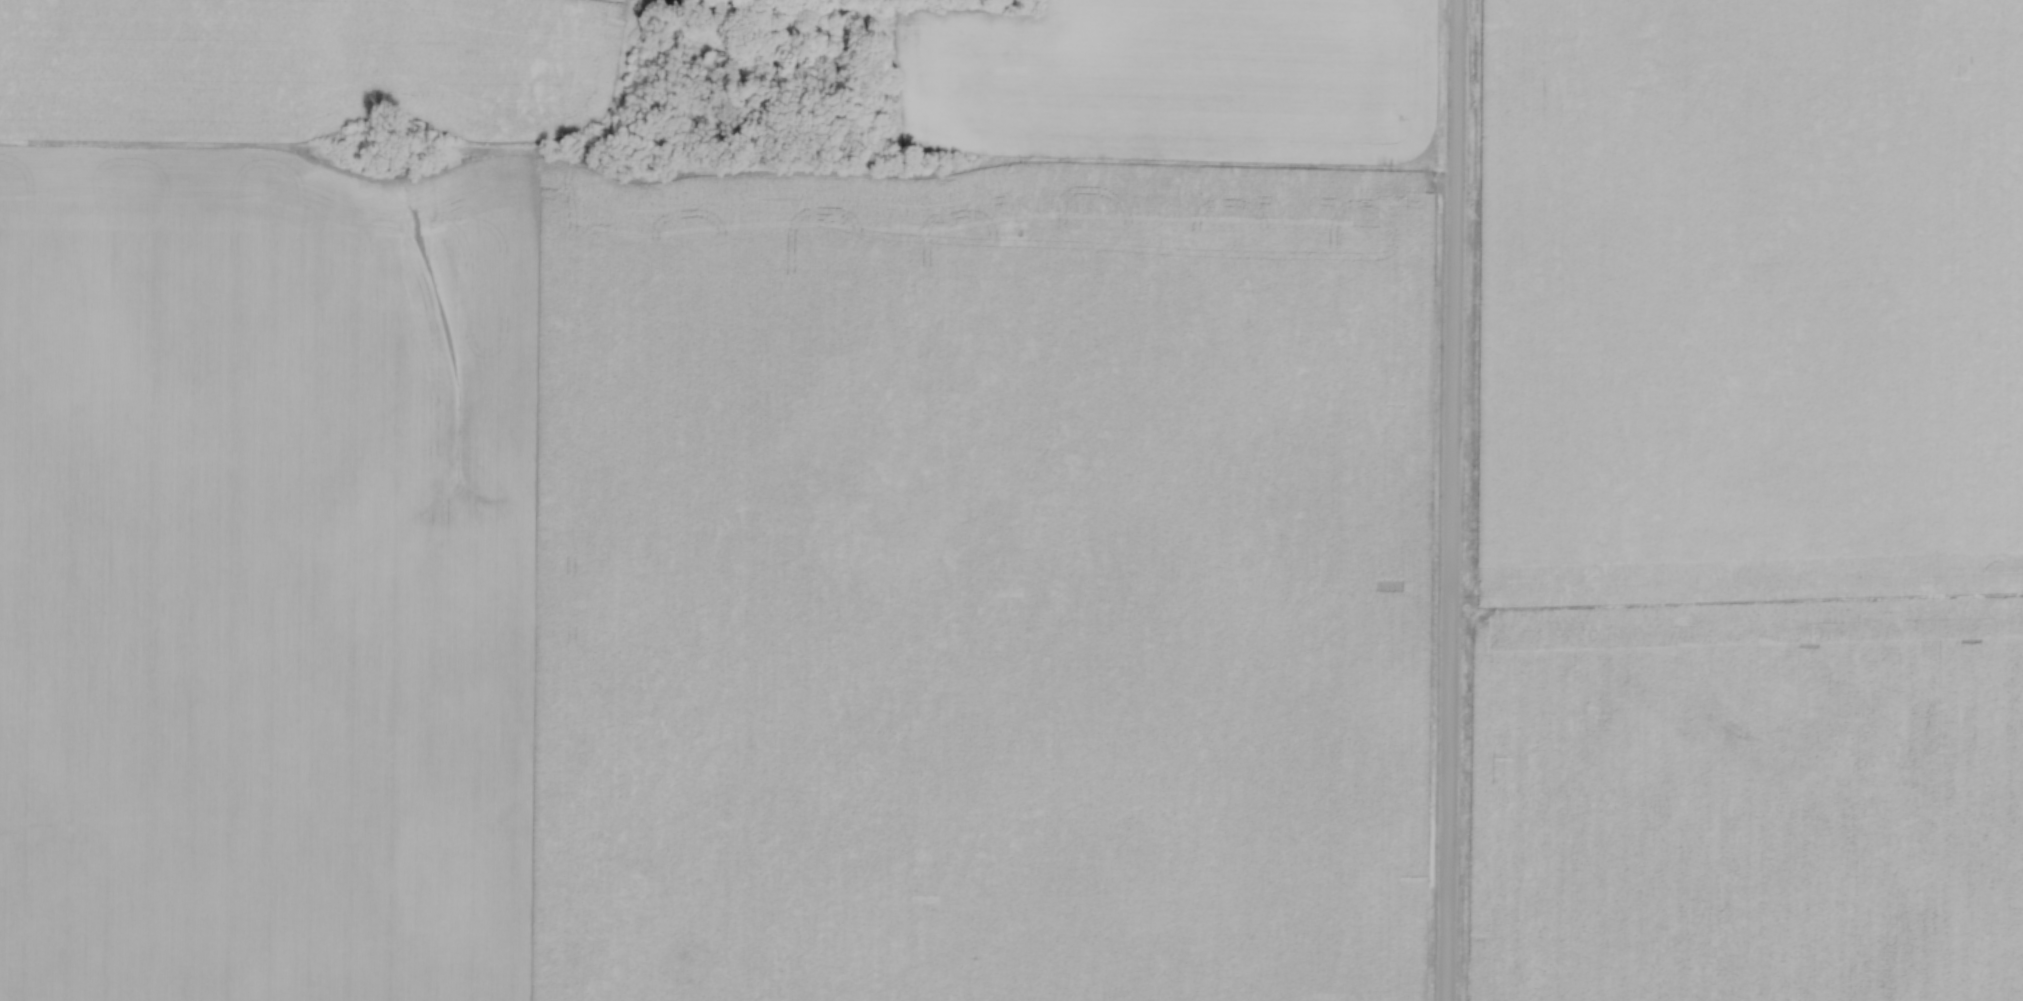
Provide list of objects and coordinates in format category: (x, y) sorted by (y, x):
road: (1450, 500)

